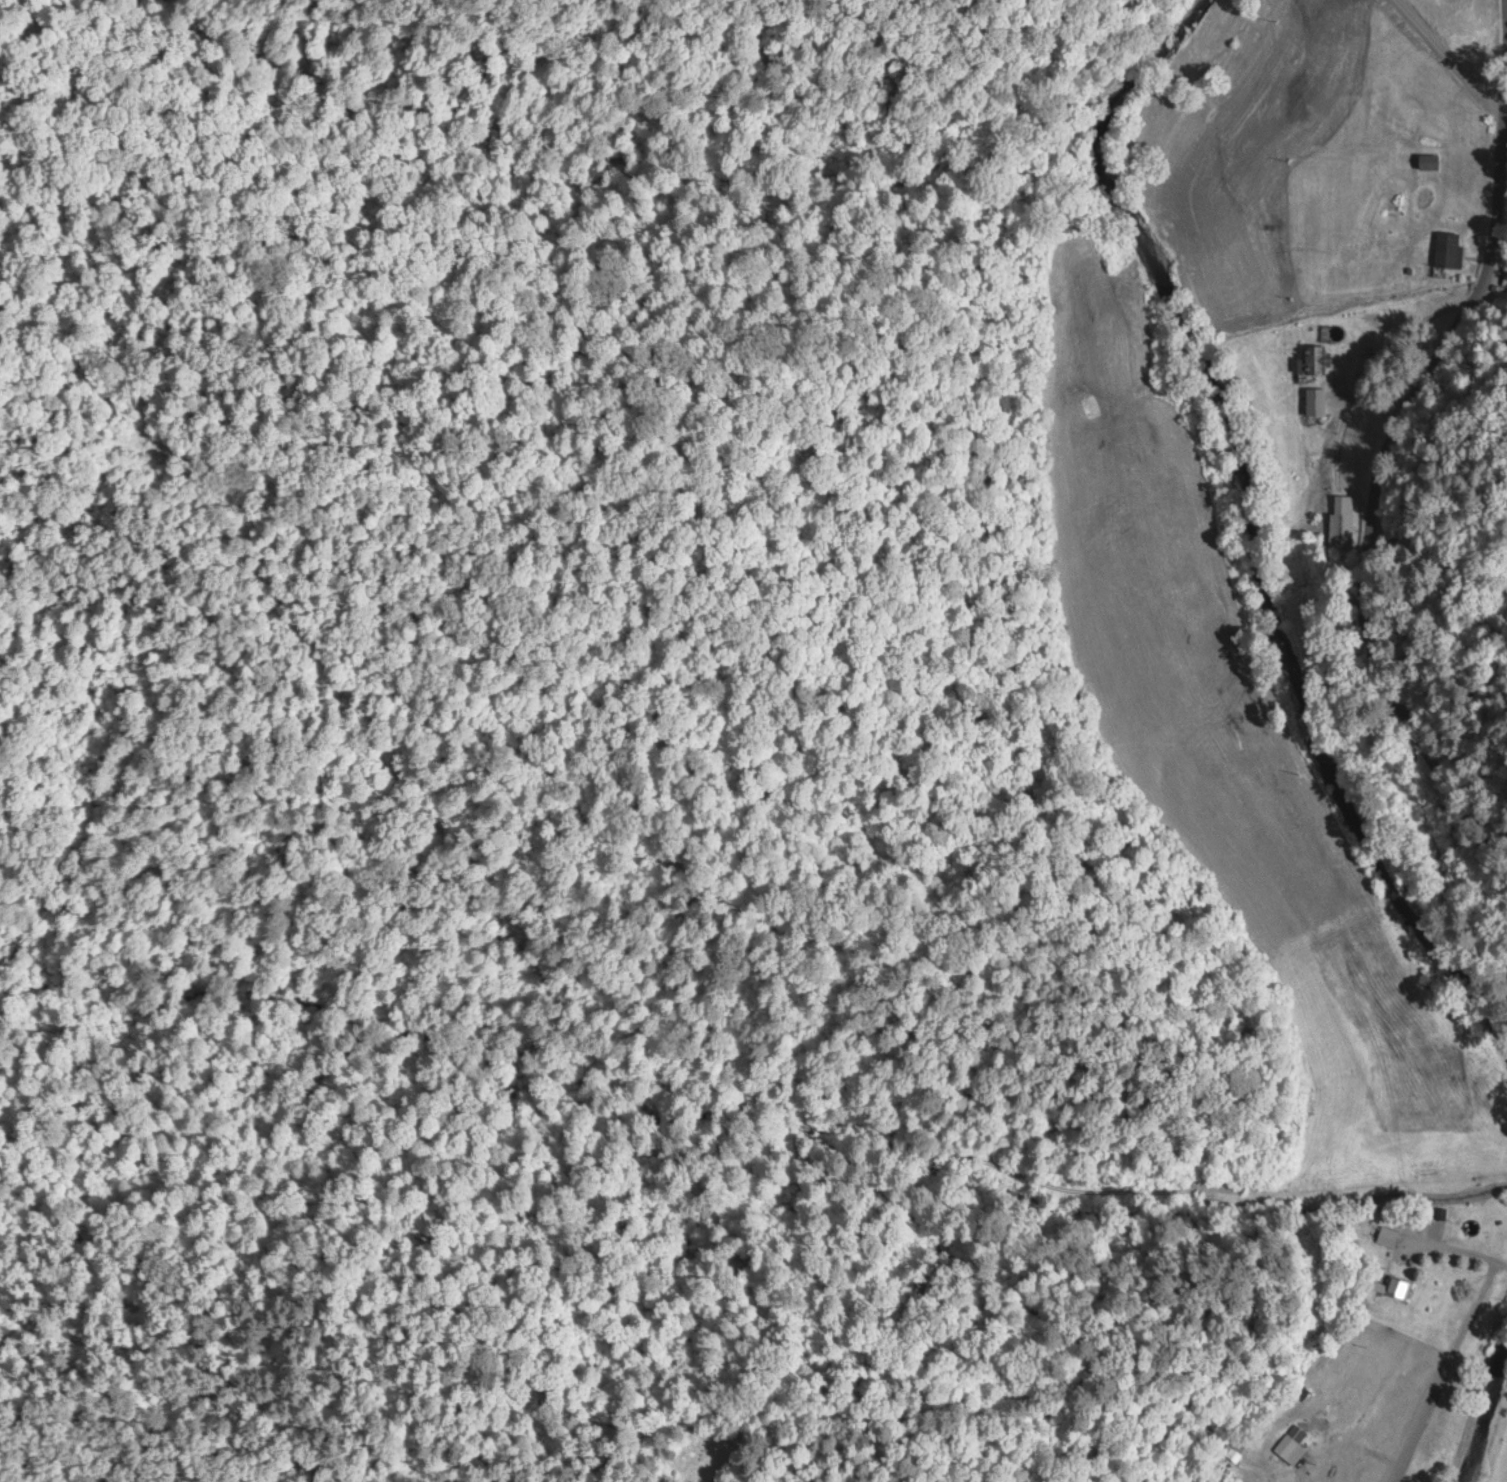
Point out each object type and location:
building: (1426, 160)
building: (1446, 248)
building: (1505, 278)
road: (1394, 314)
building: (1313, 358)
road: (1384, 460)
building: (1340, 520)
river: (1252, 527)
building: (1386, 1234)
road: (1462, 1249)
building: (1390, 1285)
river: (1481, 1408)

